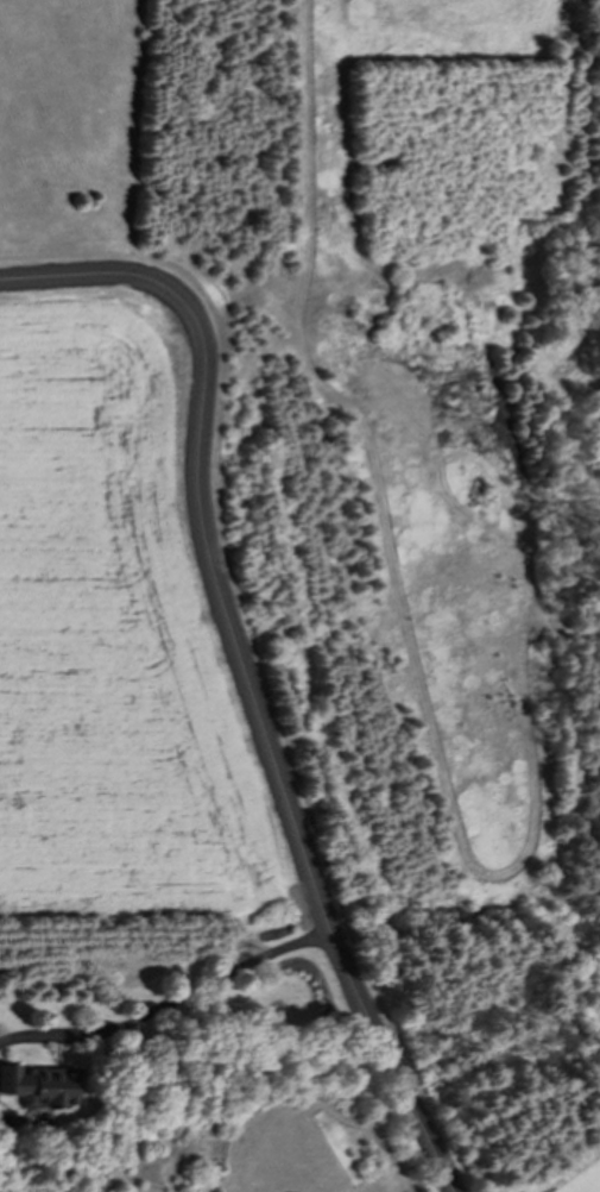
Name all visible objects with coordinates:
crop: (118, 655)
road: (240, 666)
road: (176, 999)
building: (40, 1086)
road: (569, 1172)

